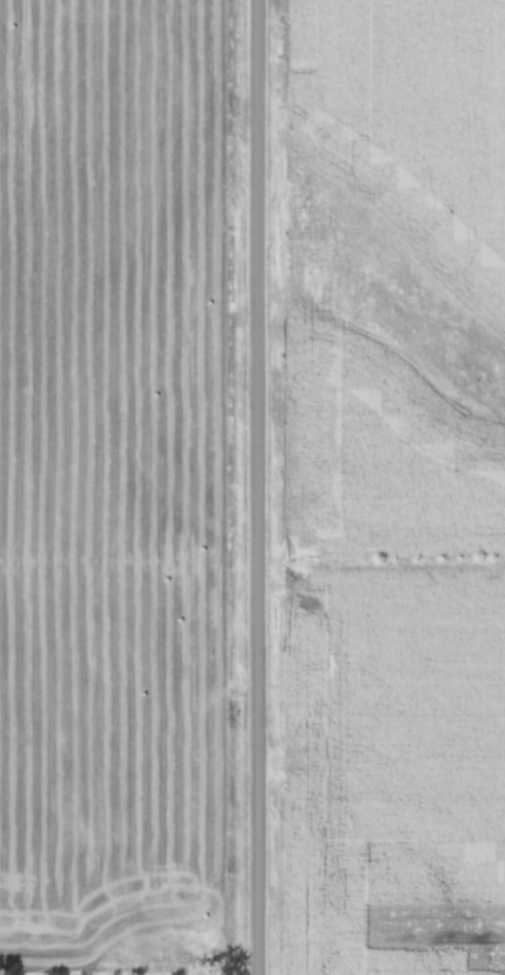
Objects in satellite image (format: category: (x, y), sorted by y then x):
road: (256, 487)

